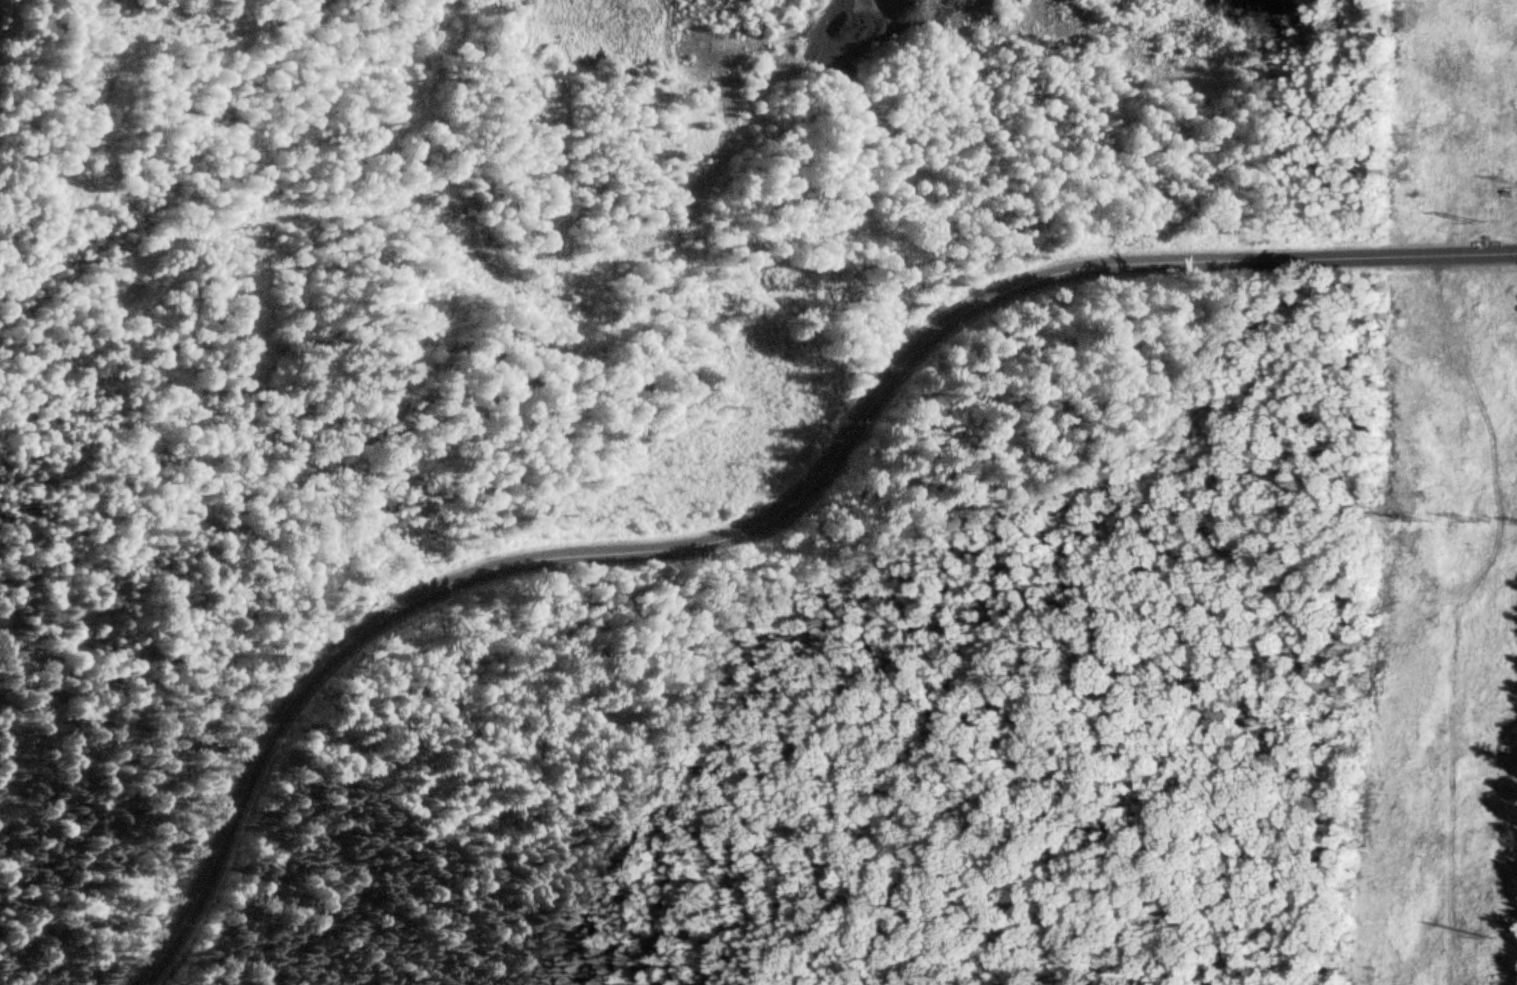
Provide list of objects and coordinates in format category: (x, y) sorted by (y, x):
road: (774, 520)
road: (1192, 559)

